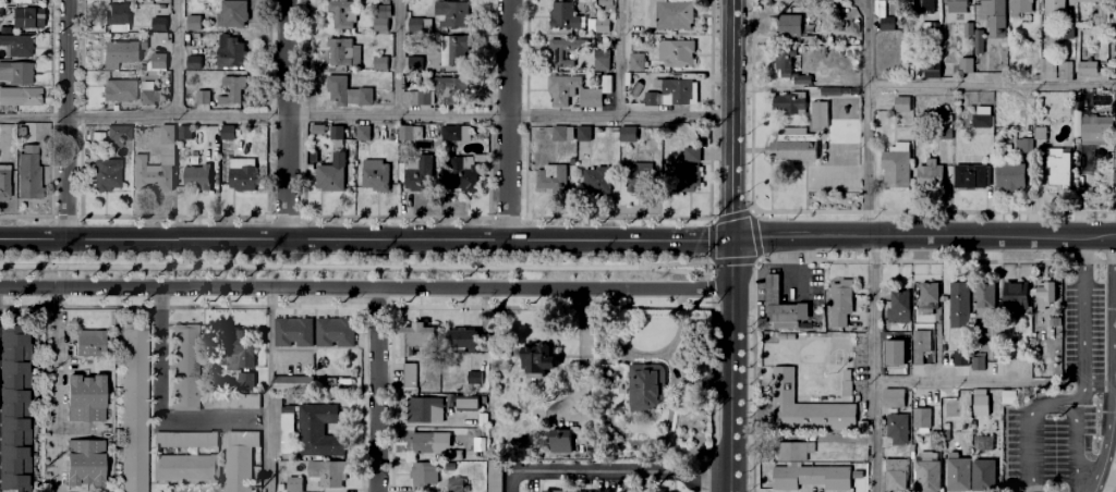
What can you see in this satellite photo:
building: (24, 1)
building: (815, 1)
building: (834, 1)
building: (886, 1)
building: (1088, 1)
building: (385, 2)
building: (605, 2)
building: (1114, 3)
building: (923, 5)
building: (956, 5)
building: (1054, 7)
building: (1020, 8)
building: (609, 10)
building: (1, 12)
building: (383, 12)
building: (232, 14)
building: (339, 14)
building: (451, 14)
building: (117, 15)
building: (674, 15)
building: (562, 16)
building: (635, 16)
building: (994, 17)
building: (26, 19)
building: (158, 20)
building: (192, 23)
building: (379, 25)
building: (416, 25)
building: (838, 26)
building: (597, 27)
building: (788, 27)
building: (886, 27)
building: (968, 29)
building: (929, 33)
building: (1066, 34)
building: (809, 40)
building: (978, 44)
building: (16, 45)
building: (1113, 46)
building: (441, 51)
building: (230, 52)
building: (563, 52)
building: (343, 53)
building: (119, 54)
building: (676, 54)
road: (397, 57)
road: (178, 58)
road: (618, 58)
building: (601, 60)
building: (158, 62)
building: (193, 63)
building: (636, 63)
building: (379, 64)
building: (414, 64)
building: (965, 66)
building: (1063, 69)
building: (1088, 69)
building: (789, 70)
building: (1047, 71)
building: (16, 73)
building: (931, 75)
building: (606, 85)
road: (992, 87)
building: (120, 90)
building: (231, 90)
building: (451, 90)
building: (561, 90)
building: (842, 90)
building: (677, 91)
building: (827, 91)
building: (851, 91)
building: (347, 94)
building: (20, 97)
building: (150, 98)
building: (201, 98)
building: (418, 99)
building: (590, 99)
building: (648, 100)
building: (786, 103)
building: (900, 104)
building: (1115, 108)
road: (365, 114)
building: (816, 115)
road: (868, 118)
road: (68, 119)
road: (286, 119)
road: (731, 119)
road: (508, 120)
building: (981, 122)
building: (943, 127)
building: (317, 131)
building: (1091, 131)
building: (22, 132)
building: (184, 133)
building: (336, 133)
building: (404, 133)
building: (456, 133)
building: (1039, 133)
building: (118, 134)
building: (226, 134)
building: (362, 134)
building: (562, 135)
building: (584, 135)
building: (633, 135)
building: (98, 136)
building: (1023, 144)
building: (791, 147)
building: (691, 155)
park: (835, 155)
building: (166, 162)
building: (895, 169)
building: (1057, 170)
road: (837, 172)
building: (29, 173)
building: (107, 174)
building: (930, 174)
building: (375, 175)
building: (420, 175)
building: (463, 175)
building: (972, 176)
building: (1009, 176)
building: (330, 177)
building: (632, 177)
building: (198, 179)
building: (687, 179)
parking lot: (832, 179)
building: (242, 180)
building: (551, 180)
building: (596, 181)
building: (4, 182)
road: (752, 210)
road: (828, 211)
road: (27, 216)
road: (64, 216)
road: (172, 216)
road: (283, 217)
road: (393, 217)
road: (731, 217)
road: (505, 218)
road: (611, 218)
road: (709, 220)
road: (753, 236)
road: (923, 236)
road: (366, 238)
traffic signals: (732, 238)
road: (709, 242)
road: (733, 261)
road: (821, 261)
road: (705, 263)
park: (353, 266)
road: (354, 267)
road: (677, 272)
road: (705, 272)
road: (50, 276)
road: (50, 283)
road: (366, 287)
road: (709, 288)
building: (772, 288)
building: (930, 293)
building: (1045, 295)
building: (978, 302)
building: (1021, 303)
road: (711, 304)
building: (840, 304)
building: (896, 305)
road: (182, 306)
building: (958, 307)
road: (377, 308)
road: (549, 308)
building: (787, 312)
building: (913, 319)
building: (293, 333)
building: (335, 333)
building: (767, 337)
road: (1083, 337)
building: (90, 343)
building: (420, 343)
building: (463, 343)
building: (921, 347)
building: (236, 349)
building: (895, 355)
building: (959, 359)
road: (874, 362)
building: (535, 364)
road: (731, 365)
building: (978, 365)
road: (1114, 365)
building: (185, 367)
building: (409, 376)
building: (474, 379)
building: (246, 382)
building: (294, 383)
road: (951, 383)
building: (645, 386)
road: (56, 389)
road: (376, 389)
road: (267, 390)
parking lot: (1069, 396)
building: (86, 398)
road: (158, 398)
building: (894, 398)
building: (231, 402)
building: (466, 403)
building: (980, 404)
road: (1051, 406)
building: (802, 407)
building: (134, 408)
building: (17, 409)
building: (950, 410)
building: (424, 411)
building: (921, 421)
building: (860, 428)
building: (897, 430)
building: (310, 431)
building: (941, 434)
building: (186, 440)
building: (984, 443)
building: (428, 444)
building: (560, 444)
building: (791, 452)
building: (454, 456)
building: (86, 463)
building: (239, 463)
building: (185, 469)
road: (579, 470)
building: (329, 475)
building: (423, 476)
building: (895, 476)
building: (926, 476)
building: (956, 476)
building: (983, 476)
building: (494, 477)
road: (697, 477)
building: (811, 478)
building: (293, 484)
building: (452, 485)
building: (192, 490)
building: (548, 491)

